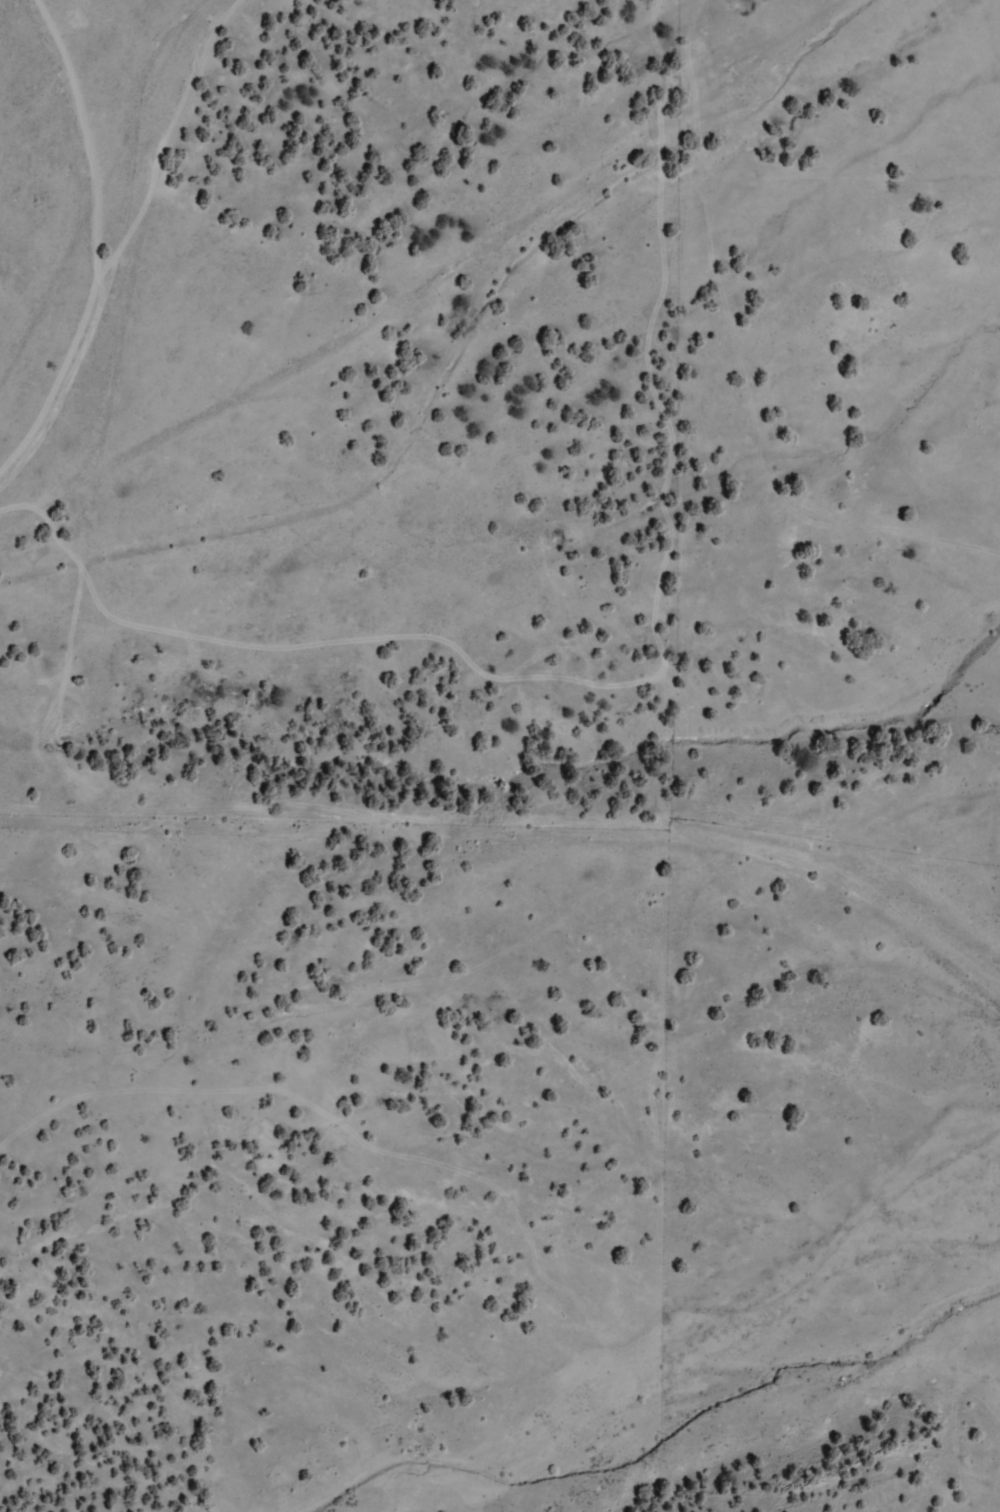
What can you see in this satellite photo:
road: (84, 159)
road: (54, 410)

